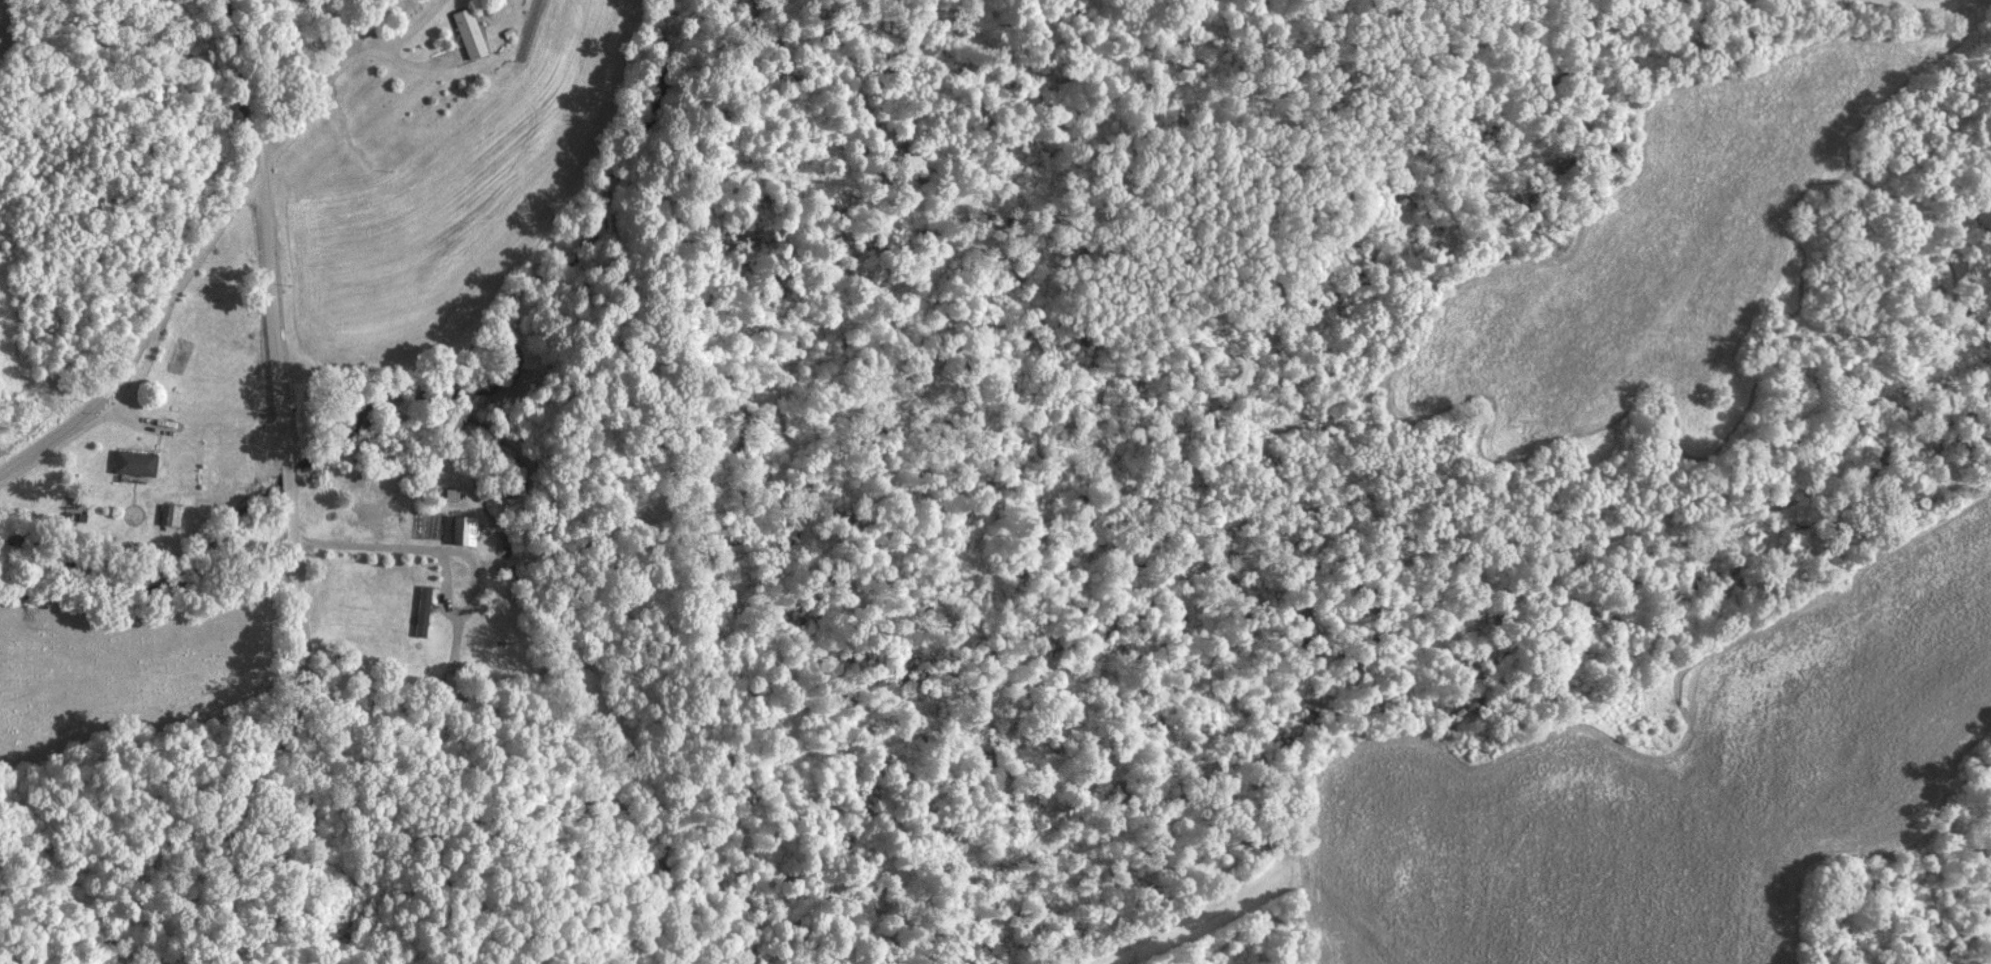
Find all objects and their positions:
building: (468, 32)
road: (342, 61)
road: (154, 336)
building: (132, 462)
road: (290, 478)
building: (168, 514)
building: (462, 529)
road: (374, 546)
building: (421, 610)

